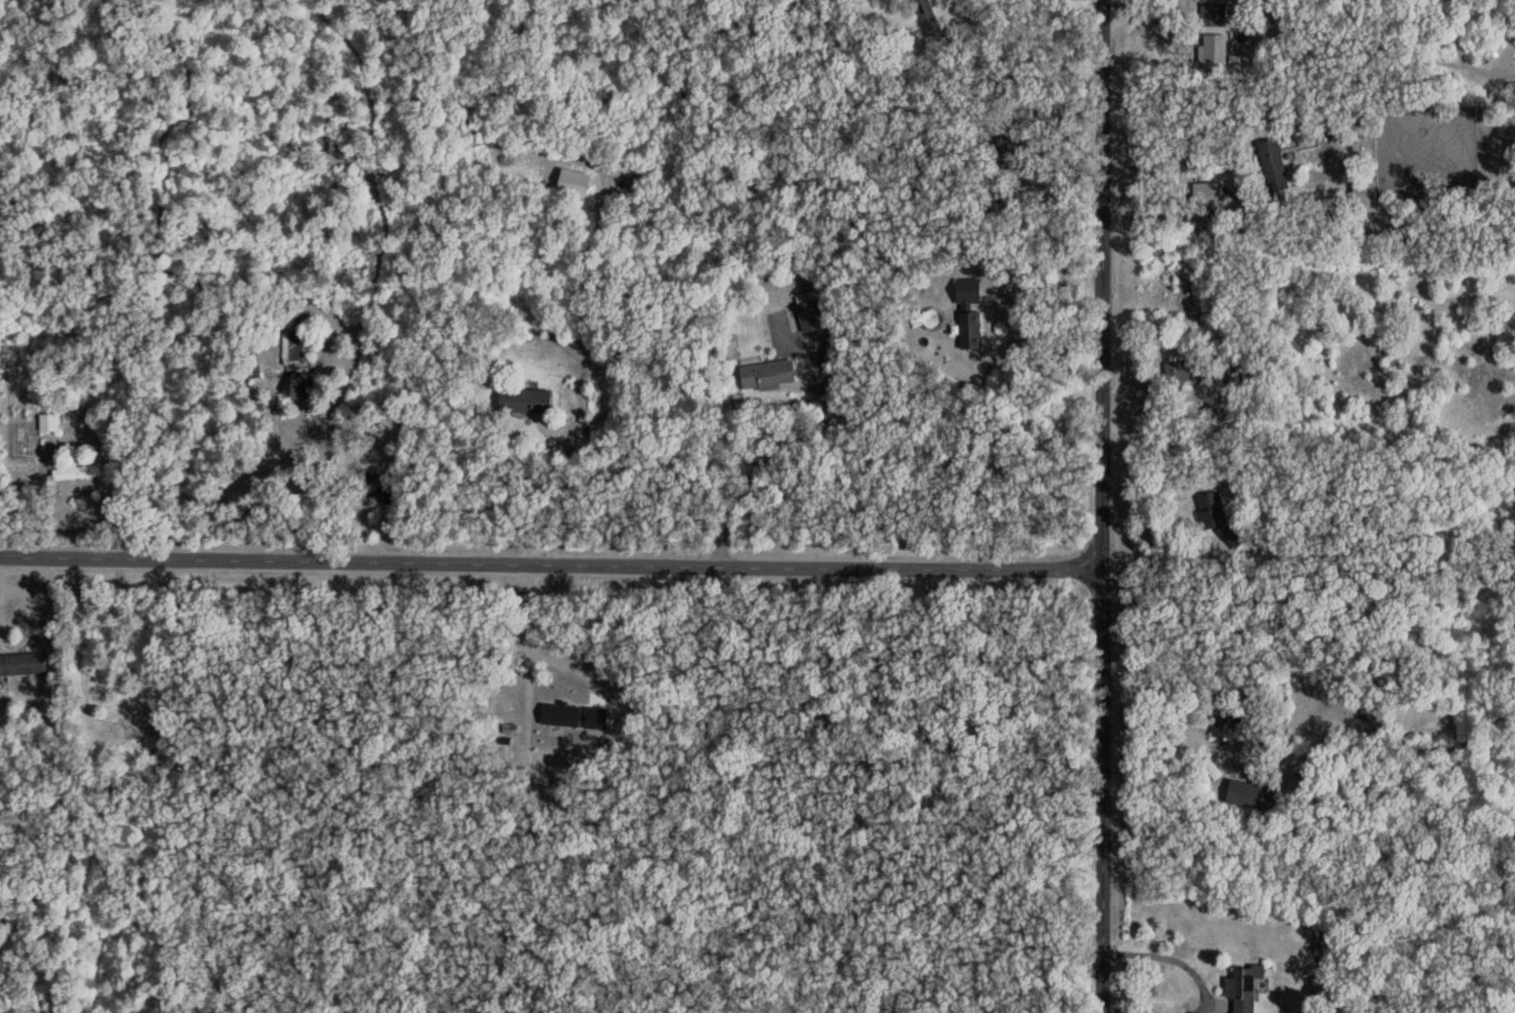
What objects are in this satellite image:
building: (1211, 15)
building: (929, 20)
building: (1215, 51)
road: (1176, 157)
building: (1274, 165)
building: (574, 178)
building: (1366, 198)
road: (1001, 238)
building: (969, 314)
building: (805, 315)
building: (1179, 375)
building: (768, 376)
building: (303, 385)
building: (526, 400)
building: (49, 423)
road: (755, 468)
building: (76, 471)
road: (239, 480)
road: (567, 486)
building: (385, 487)
building: (1212, 503)
road: (1100, 506)
road: (1151, 559)
road: (549, 560)
road: (528, 647)
building: (22, 665)
building: (564, 702)
road: (1193, 719)
building: (1227, 723)
building: (1373, 723)
building: (137, 733)
building: (548, 772)
building: (1241, 990)
road: (1208, 991)

